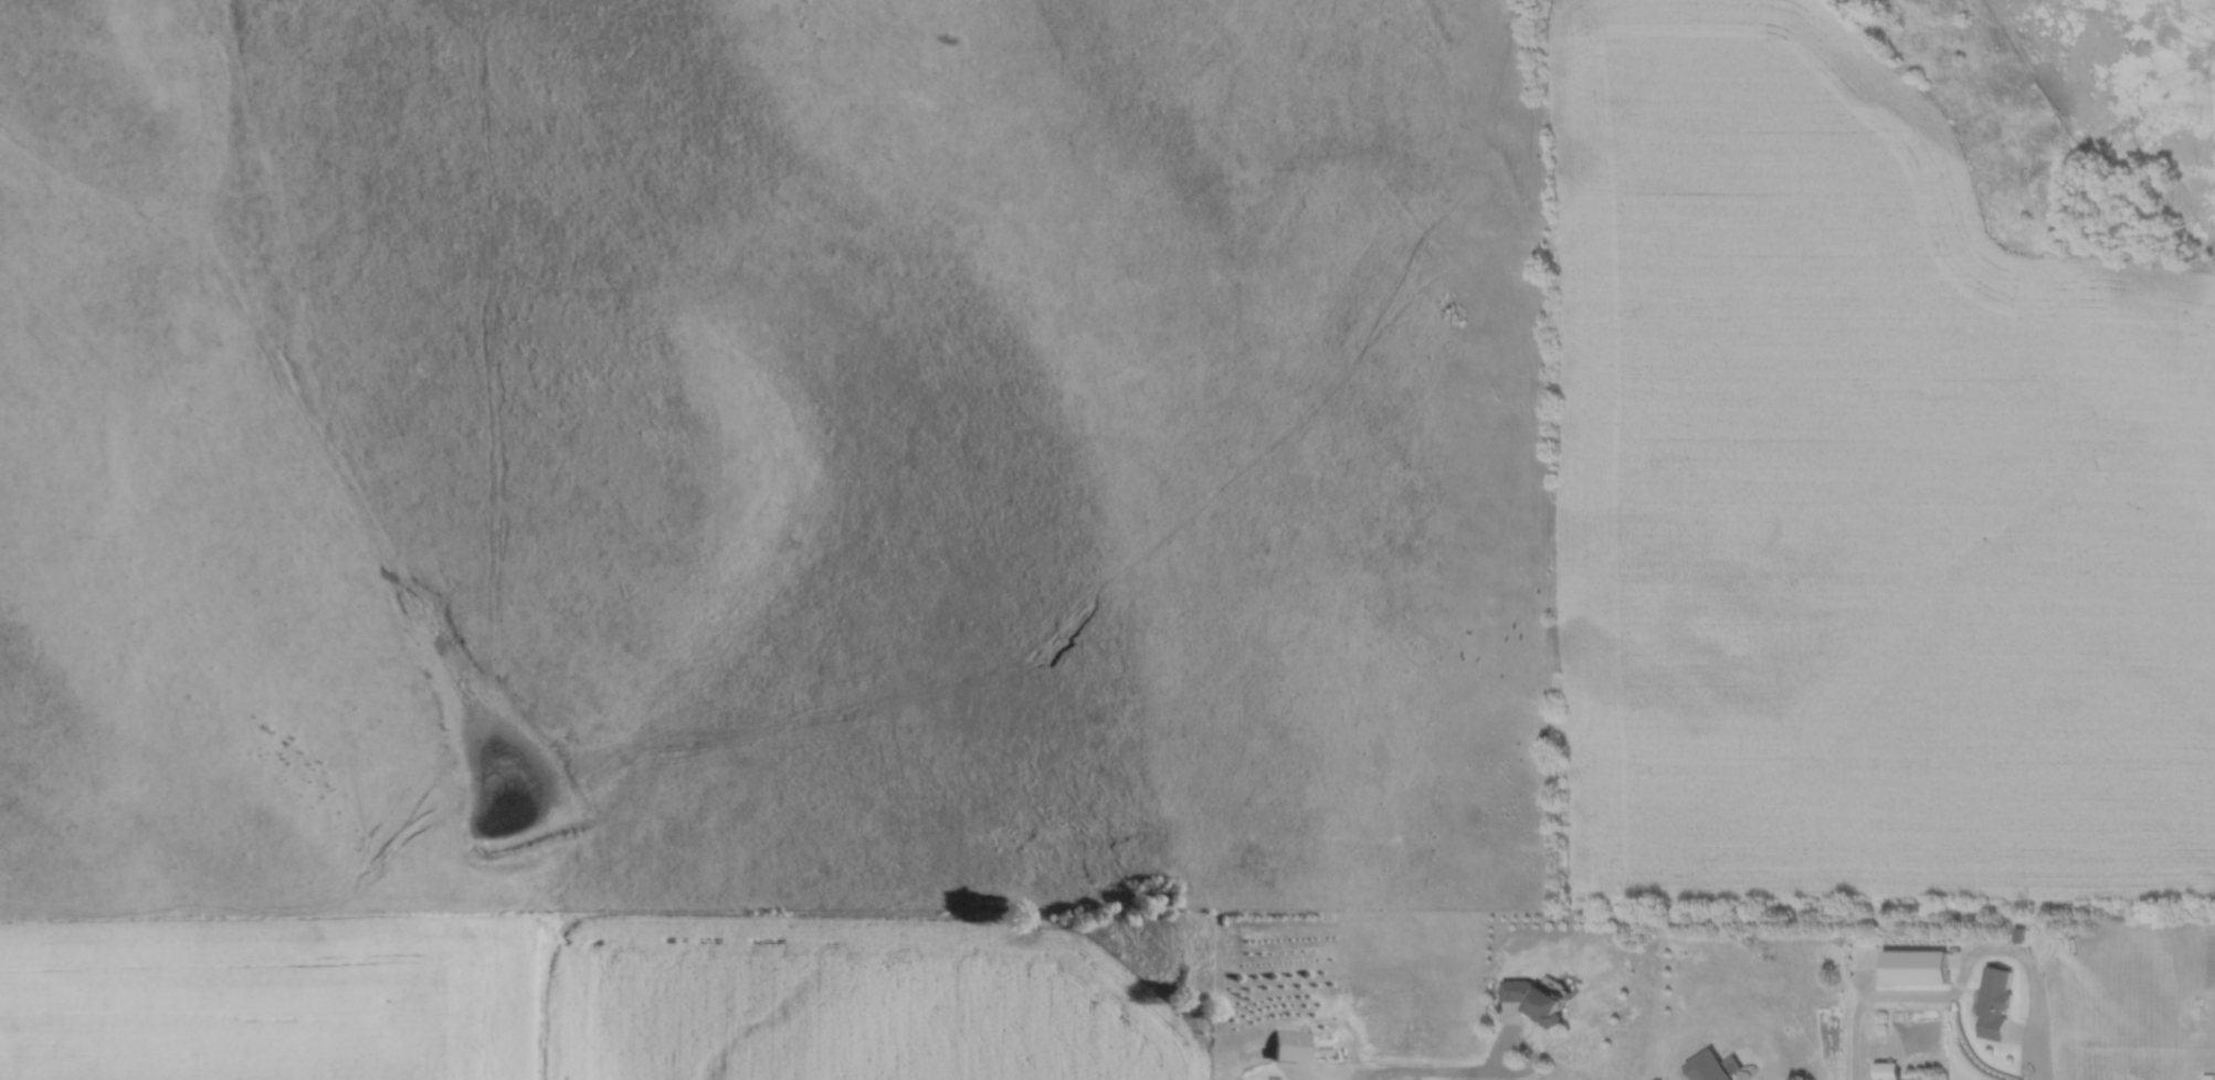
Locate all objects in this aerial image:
building: (1536, 1000)
building: (1884, 1070)
road: (1460, 1074)
building: (2205, 1076)
road: (1389, 1079)

